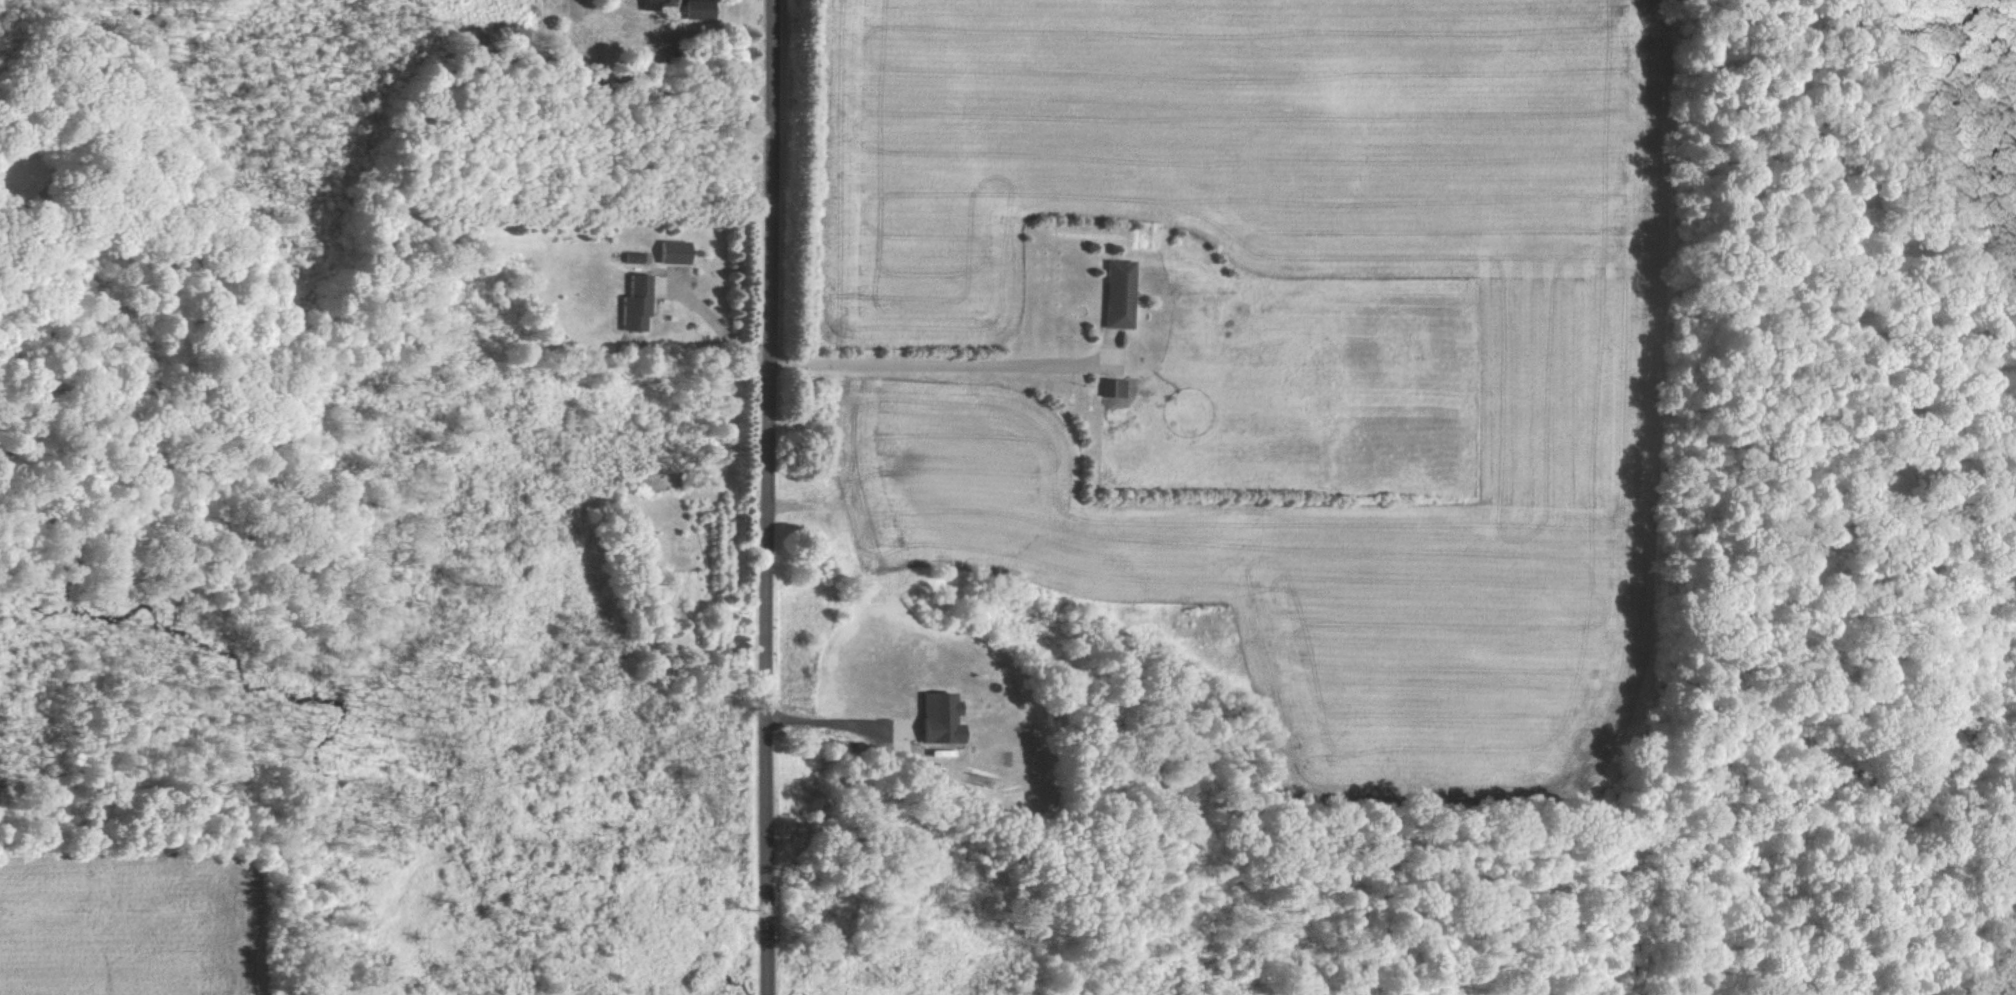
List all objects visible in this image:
building: (658, 2)
building: (695, 9)
building: (670, 252)
building: (1111, 294)
building: (631, 304)
road: (717, 324)
road: (942, 365)
building: (1107, 387)
road: (766, 497)
road: (825, 724)

